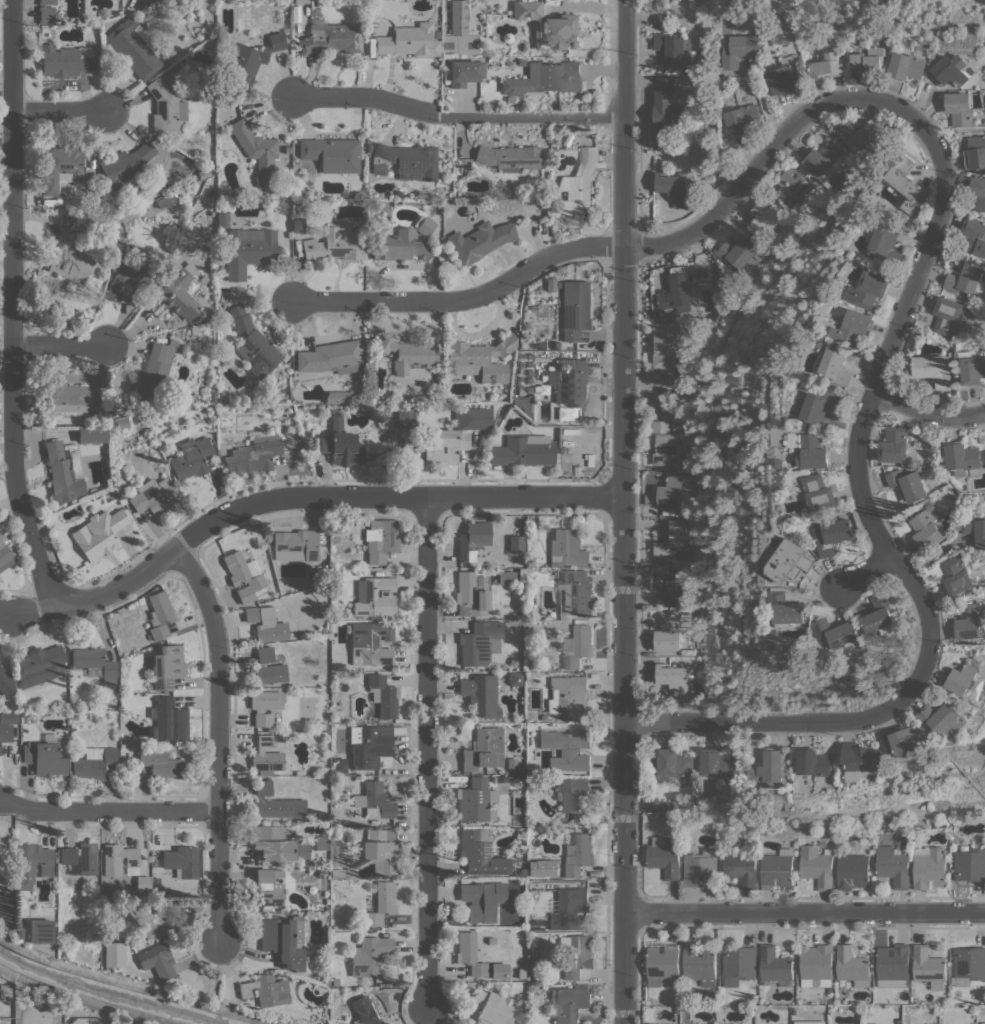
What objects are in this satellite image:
building: (46, 11)
building: (458, 17)
building: (549, 26)
building: (437, 33)
building: (329, 35)
building: (507, 38)
building: (408, 41)
building: (134, 46)
building: (670, 48)
building: (741, 50)
building: (250, 59)
building: (870, 59)
building: (65, 60)
building: (826, 64)
building: (908, 66)
building: (952, 70)
building: (464, 72)
building: (787, 74)
building: (545, 78)
building: (509, 99)
building: (165, 108)
building: (960, 108)
building: (666, 109)
road: (59, 110)
road: (457, 117)
building: (743, 119)
building: (861, 137)
building: (369, 147)
building: (256, 152)
building: (976, 152)
building: (331, 154)
building: (509, 157)
building: (824, 159)
building: (406, 161)
building: (125, 165)
building: (64, 167)
building: (457, 170)
building: (307, 182)
building: (578, 184)
building: (904, 184)
building: (791, 186)
building: (673, 187)
building: (979, 191)
building: (398, 192)
building: (302, 195)
building: (302, 202)
building: (222, 216)
building: (765, 216)
building: (205, 220)
building: (298, 224)
building: (423, 224)
building: (974, 236)
building: (479, 241)
building: (336, 242)
building: (399, 245)
building: (887, 245)
road: (637, 246)
building: (248, 250)
building: (740, 252)
building: (70, 259)
building: (127, 277)
building: (966, 279)
building: (550, 284)
building: (870, 289)
building: (679, 291)
building: (178, 295)
road: (13, 306)
building: (575, 309)
building: (950, 315)
building: (855, 326)
building: (172, 342)
building: (665, 342)
building: (253, 344)
road: (61, 345)
building: (532, 345)
building: (181, 348)
building: (407, 353)
building: (331, 357)
building: (480, 358)
building: (835, 361)
building: (550, 367)
building: (972, 367)
building: (934, 369)
building: (154, 370)
building: (568, 381)
building: (680, 395)
building: (211, 396)
building: (71, 397)
building: (337, 397)
building: (525, 404)
building: (824, 405)
road: (867, 412)
road: (929, 413)
building: (406, 418)
building: (472, 418)
building: (123, 421)
building: (92, 434)
building: (667, 445)
building: (894, 445)
building: (445, 446)
building: (341, 448)
building: (523, 450)
building: (563, 450)
building: (815, 451)
building: (253, 453)
building: (190, 458)
building: (964, 458)
building: (783, 463)
building: (61, 473)
building: (908, 484)
building: (820, 491)
building: (670, 493)
building: (153, 496)
road: (300, 496)
building: (85, 506)
road: (623, 512)
building: (335, 526)
building: (925, 530)
building: (975, 530)
building: (100, 533)
building: (834, 536)
building: (672, 538)
building: (472, 539)
building: (381, 540)
building: (515, 544)
building: (295, 545)
building: (567, 549)
building: (5, 555)
building: (792, 560)
road: (865, 570)
building: (335, 571)
building: (958, 575)
building: (242, 576)
building: (506, 577)
building: (671, 588)
building: (473, 592)
building: (573, 592)
building: (374, 596)
building: (790, 608)
building: (250, 614)
building: (494, 614)
building: (159, 615)
building: (881, 615)
building: (969, 621)
building: (269, 626)
building: (668, 631)
building: (840, 632)
building: (479, 642)
building: (368, 645)
building: (578, 646)
building: (94, 662)
building: (40, 665)
building: (168, 666)
building: (268, 667)
building: (965, 676)
building: (514, 678)
building: (674, 678)
building: (5, 681)
building: (481, 694)
building: (383, 695)
building: (567, 695)
building: (12, 703)
building: (266, 707)
building: (8, 716)
building: (24, 717)
building: (33, 717)
building: (542, 717)
building: (939, 717)
building: (168, 720)
building: (75, 721)
road: (769, 721)
building: (6, 732)
road: (217, 739)
building: (906, 739)
building: (369, 744)
building: (65, 747)
building: (484, 749)
building: (567, 749)
road: (428, 752)
building: (265, 754)
building: (45, 756)
building: (861, 759)
building: (93, 762)
building: (160, 762)
building: (512, 763)
building: (717, 763)
building: (815, 763)
building: (674, 764)
building: (339, 765)
building: (770, 769)
building: (502, 779)
building: (575, 798)
building: (375, 799)
building: (475, 800)
building: (274, 803)
building: (659, 805)
road: (108, 811)
building: (939, 823)
building: (750, 841)
building: (320, 842)
building: (822, 842)
building: (277, 843)
building: (333, 851)
building: (382, 851)
building: (480, 853)
building: (578, 855)
building: (665, 855)
building: (80, 858)
building: (120, 860)
building: (182, 861)
building: (32, 863)
building: (154, 863)
building: (970, 864)
building: (817, 865)
building: (894, 866)
building: (929, 867)
building: (700, 868)
building: (741, 869)
building: (777, 869)
building: (852, 871)
building: (349, 872)
building: (338, 874)
building: (143, 883)
building: (158, 887)
building: (270, 887)
building: (482, 899)
building: (381, 903)
building: (559, 905)
building: (6, 908)
building: (162, 909)
road: (804, 912)
building: (20, 913)
building: (159, 928)
building: (284, 940)
building: (491, 940)
building: (112, 954)
building: (469, 954)
building: (369, 955)
building: (576, 955)
building: (157, 961)
building: (700, 963)
building: (816, 963)
building: (739, 964)
building: (663, 965)
building: (852, 965)
building: (893, 965)
building: (968, 965)
building: (775, 966)
building: (928, 966)
building: (499, 970)
building: (521, 974)
building: (531, 978)
building: (552, 980)
road: (135, 985)
building: (528, 988)
building: (266, 989)
building: (5, 992)
road: (85, 999)
building: (567, 1004)
building: (491, 1007)
building: (366, 1014)
building: (808, 1022)
building: (384, 1023)
building: (647, 1023)
building: (654, 1023)
building: (730, 1023)
building: (933, 1023)
building: (983, 1023)

